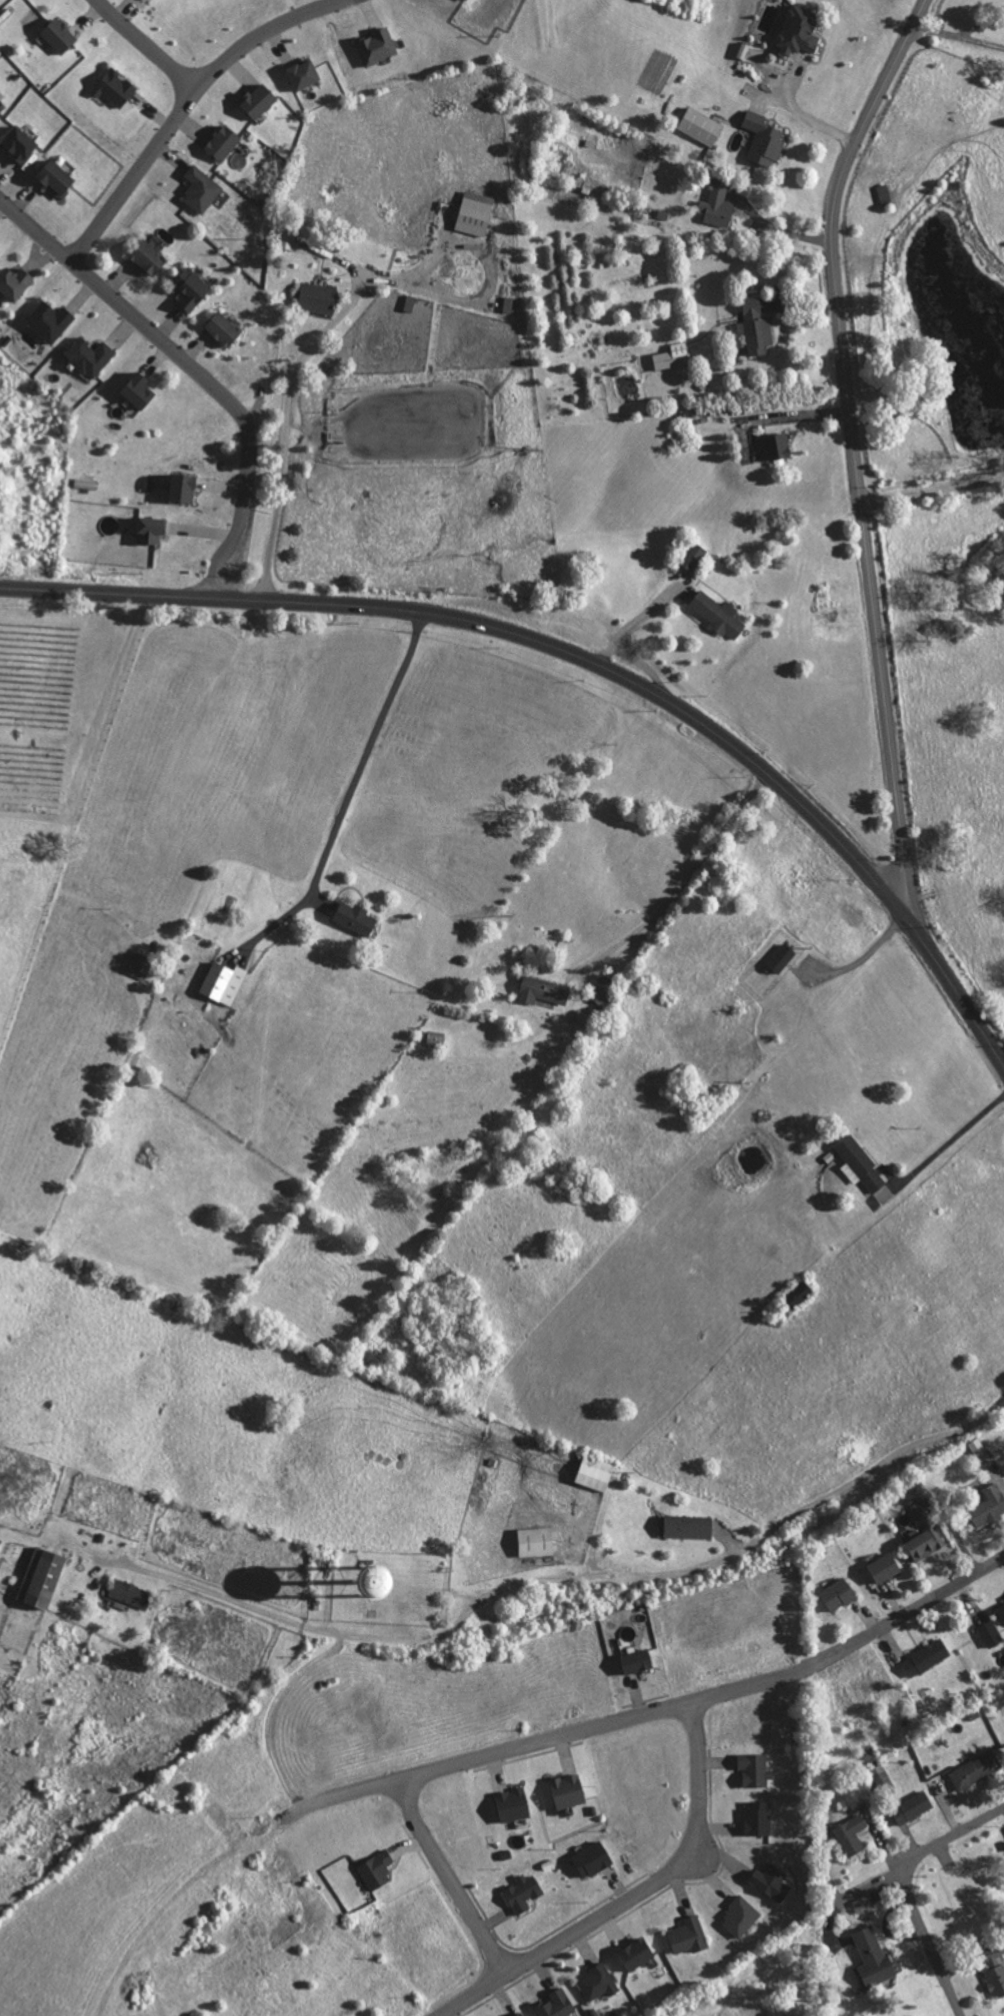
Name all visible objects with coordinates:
building: (800, 30)
building: (60, 34)
road: (957, 36)
road: (145, 44)
building: (377, 46)
building: (305, 72)
building: (115, 87)
building: (260, 100)
road: (181, 104)
building: (2, 105)
building: (701, 126)
building: (764, 139)
building: (224, 141)
building: (20, 143)
building: (58, 177)
building: (202, 188)
building: (885, 193)
building: (719, 200)
building: (476, 213)
building: (291, 237)
building: (150, 256)
building: (16, 281)
building: (192, 288)
building: (319, 297)
building: (410, 302)
building: (509, 304)
building: (51, 320)
building: (756, 326)
building: (225, 328)
building: (91, 355)
building: (672, 356)
road: (195, 369)
building: (140, 390)
road: (285, 427)
building: (779, 446)
road: (854, 454)
building: (185, 487)
road: (932, 488)
building: (152, 530)
building: (694, 556)
building: (720, 614)
road: (585, 660)
road: (355, 786)
road: (683, 885)
building: (356, 918)
building: (782, 957)
building: (139, 965)
building: (224, 982)
building: (543, 990)
building: (603, 990)
building: (860, 1163)
building: (598, 1473)
building: (990, 1506)
building: (689, 1526)
building: (538, 1541)
building: (886, 1567)
building: (43, 1576)
building: (393, 1576)
road: (566, 1578)
building: (131, 1593)
building: (839, 1593)
building: (1000, 1612)
building: (991, 1633)
building: (927, 1657)
building: (639, 1660)
road: (274, 1710)
road: (653, 1710)
building: (756, 1769)
building: (976, 1769)
building: (880, 1773)
building: (570, 1790)
building: (514, 1804)
building: (913, 1806)
building: (759, 1817)
building: (852, 1834)
building: (594, 1858)
building: (377, 1870)
building: (772, 1881)
road: (906, 1890)
building: (524, 1892)
building: (742, 1916)
road: (571, 1928)
building: (690, 1935)
building: (638, 1953)
building: (874, 1956)
building: (996, 1970)
building: (598, 1982)
road: (469, 1992)
building: (557, 2004)
building: (521, 2014)

